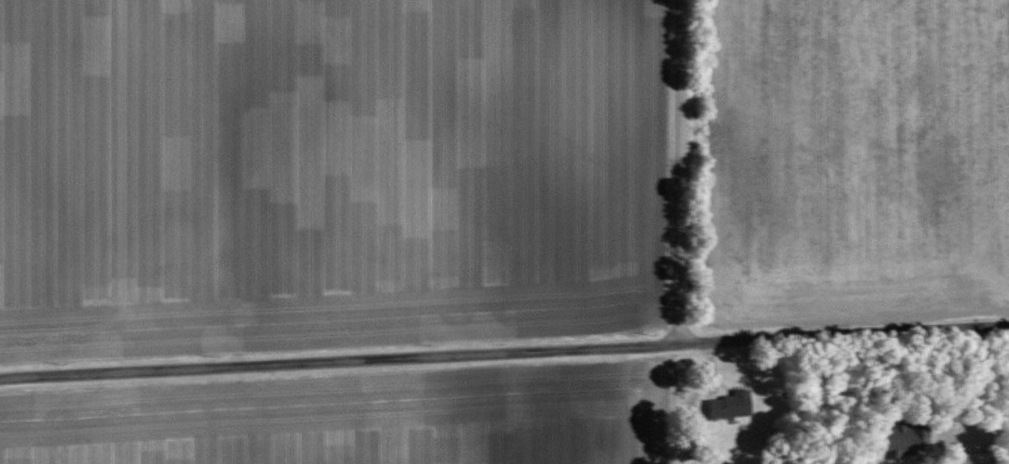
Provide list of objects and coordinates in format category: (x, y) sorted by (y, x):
road: (674, 173)
road: (504, 354)
road: (976, 389)
building: (899, 441)
building: (965, 458)

